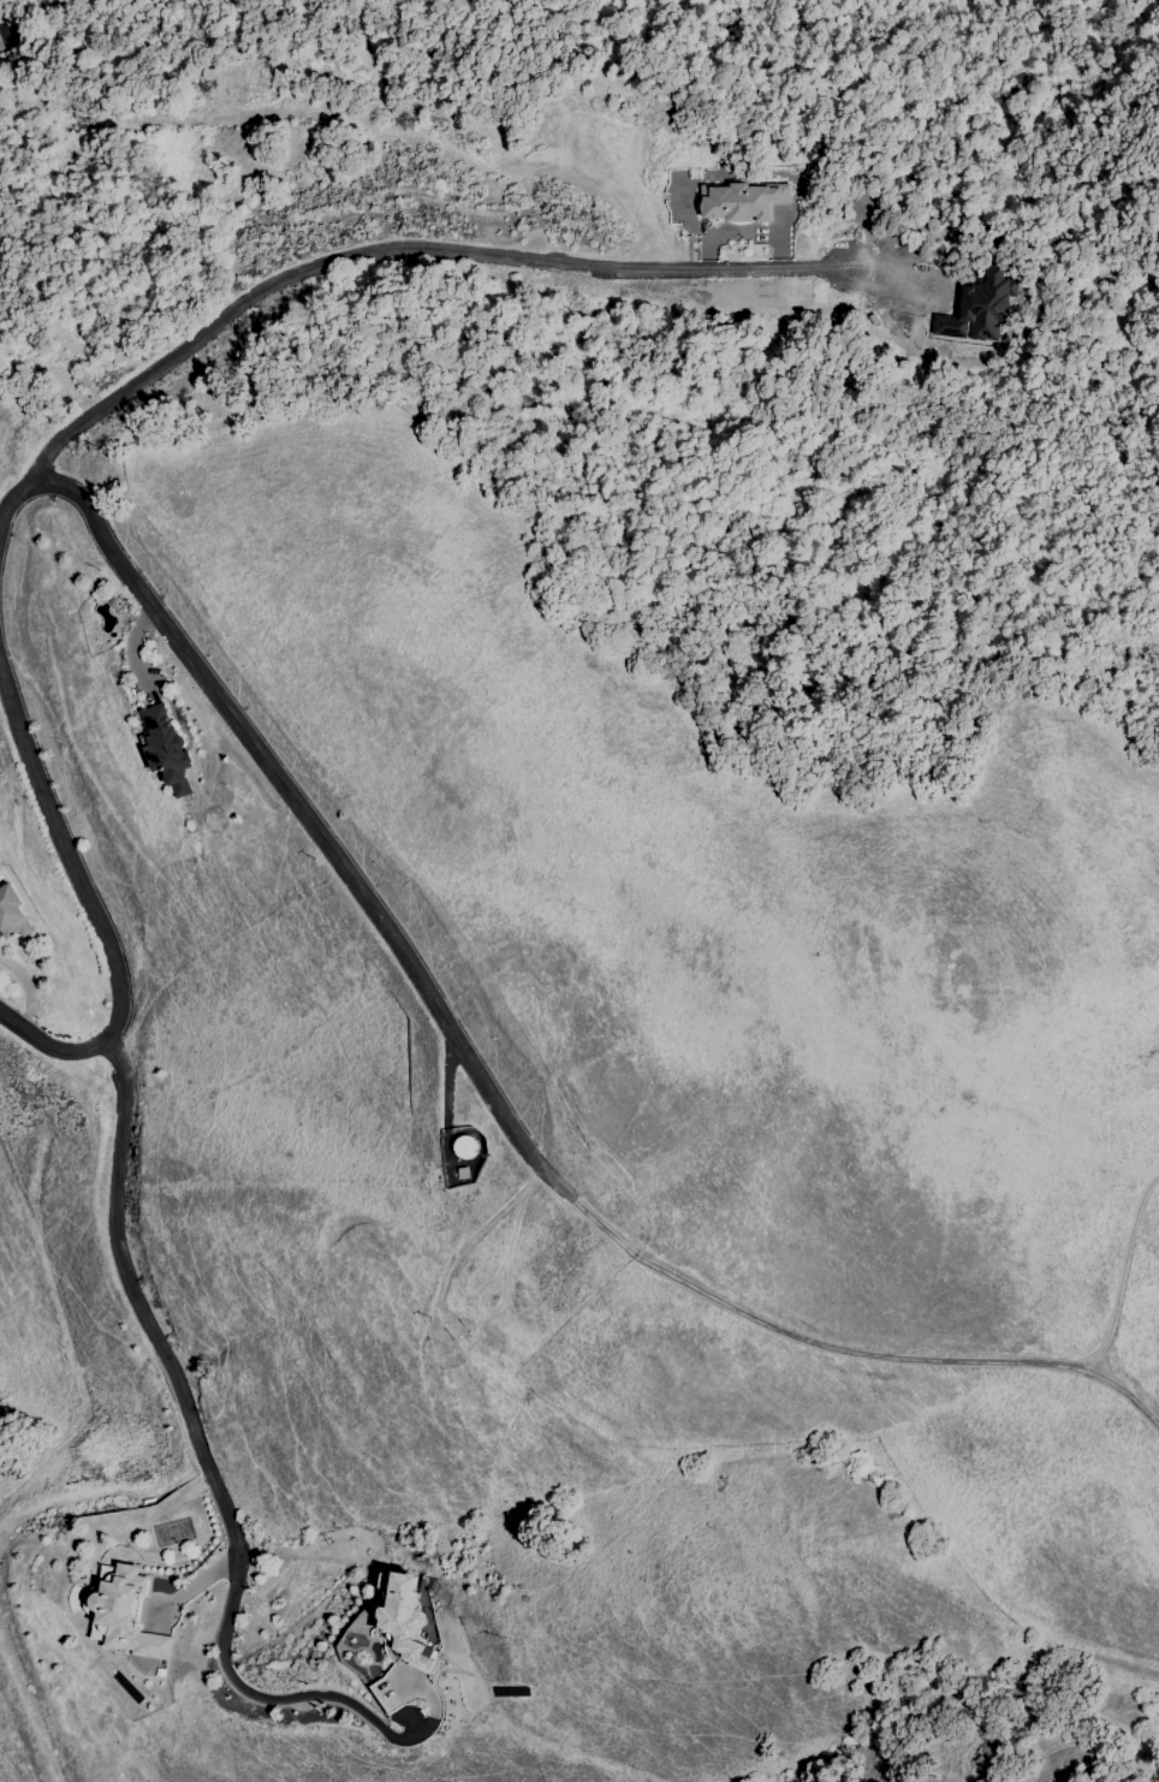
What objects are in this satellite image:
road: (24, 22)
building: (742, 202)
road: (398, 253)
building: (977, 310)
building: (164, 748)
road: (94, 905)
building: (13, 913)
road: (28, 987)
road: (477, 1070)
road: (448, 1097)
building: (466, 1147)
storage tank: (466, 1147)
road: (1117, 1288)
road: (203, 1456)
road: (195, 1585)
building: (121, 1616)

